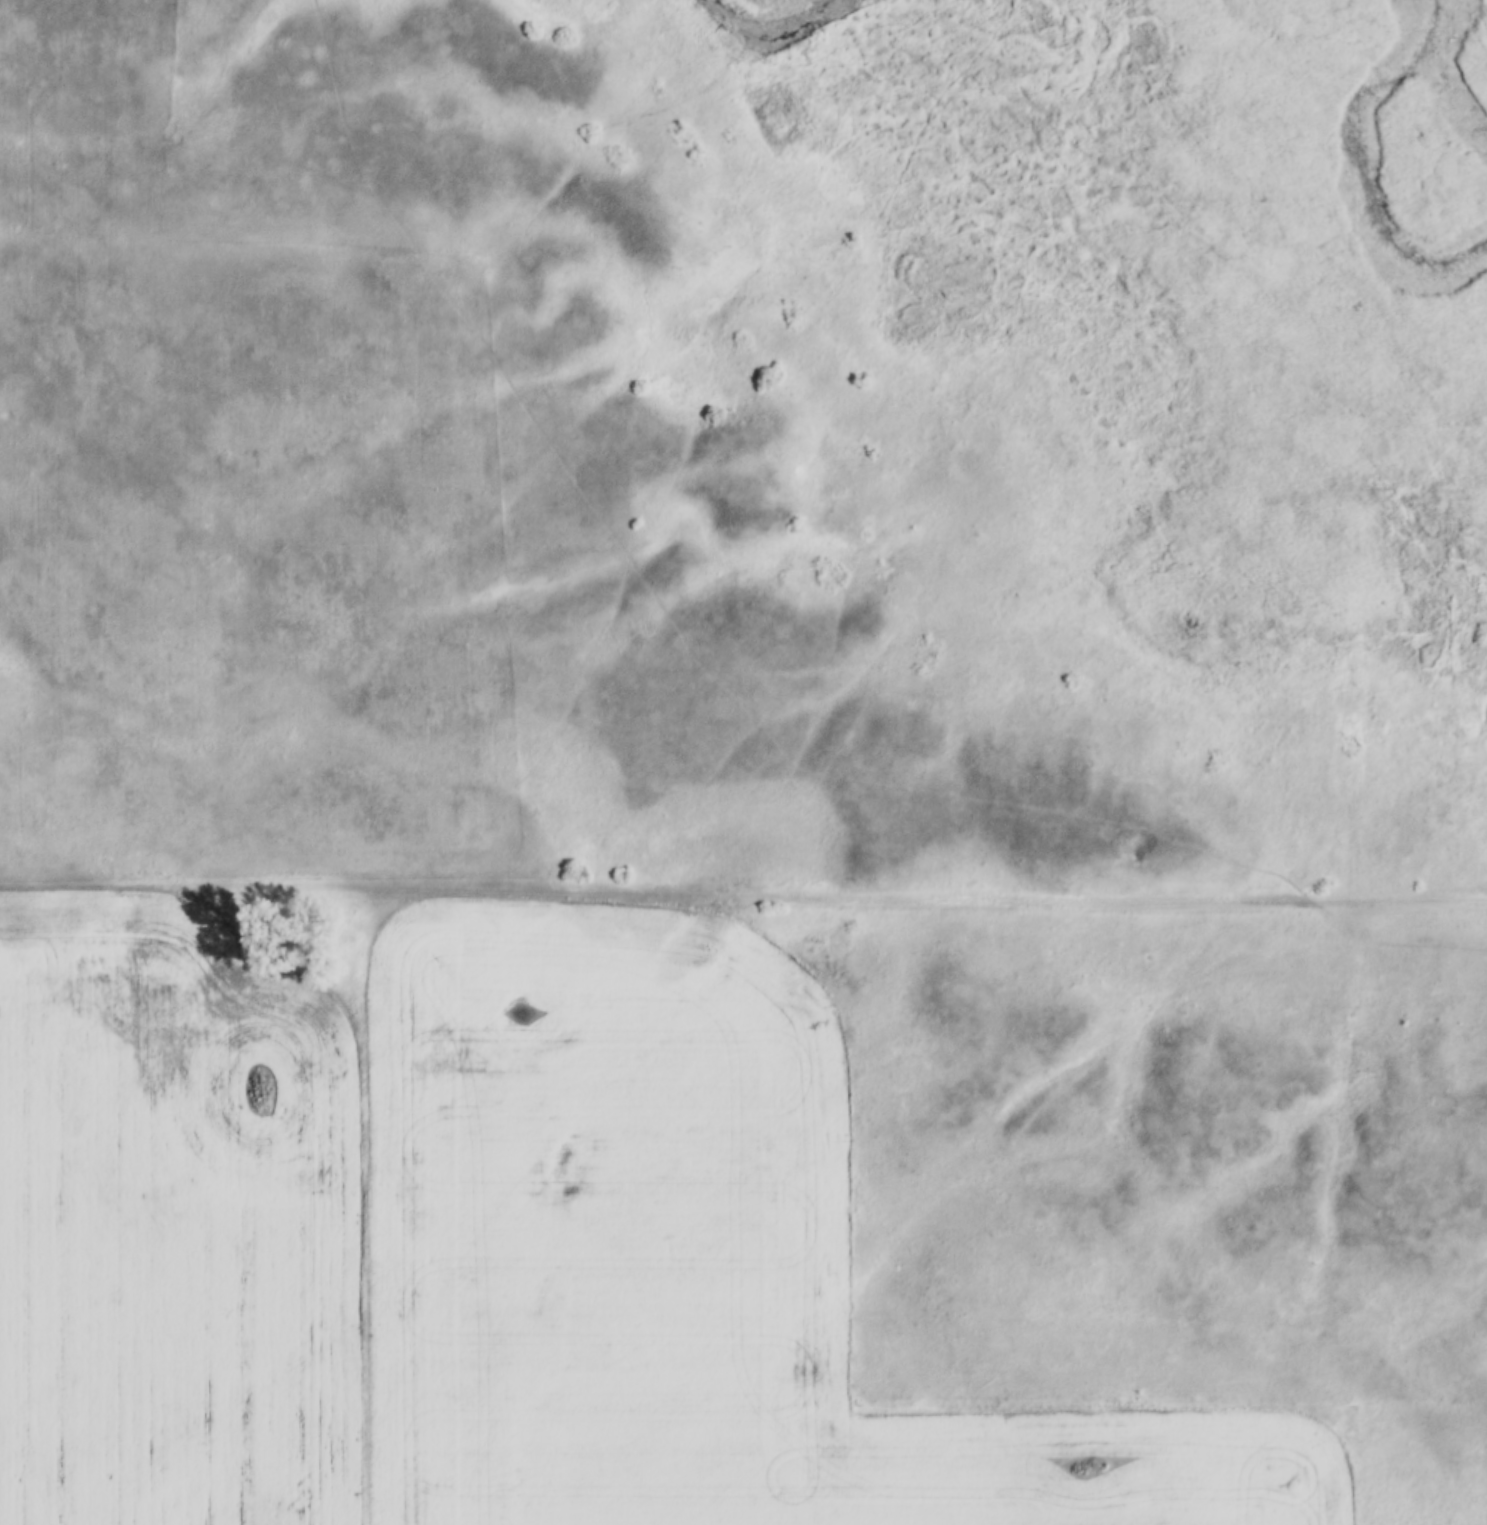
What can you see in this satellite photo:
river: (781, 28)
river: (1376, 152)
road: (714, 514)
road: (589, 894)
road: (1332, 899)

